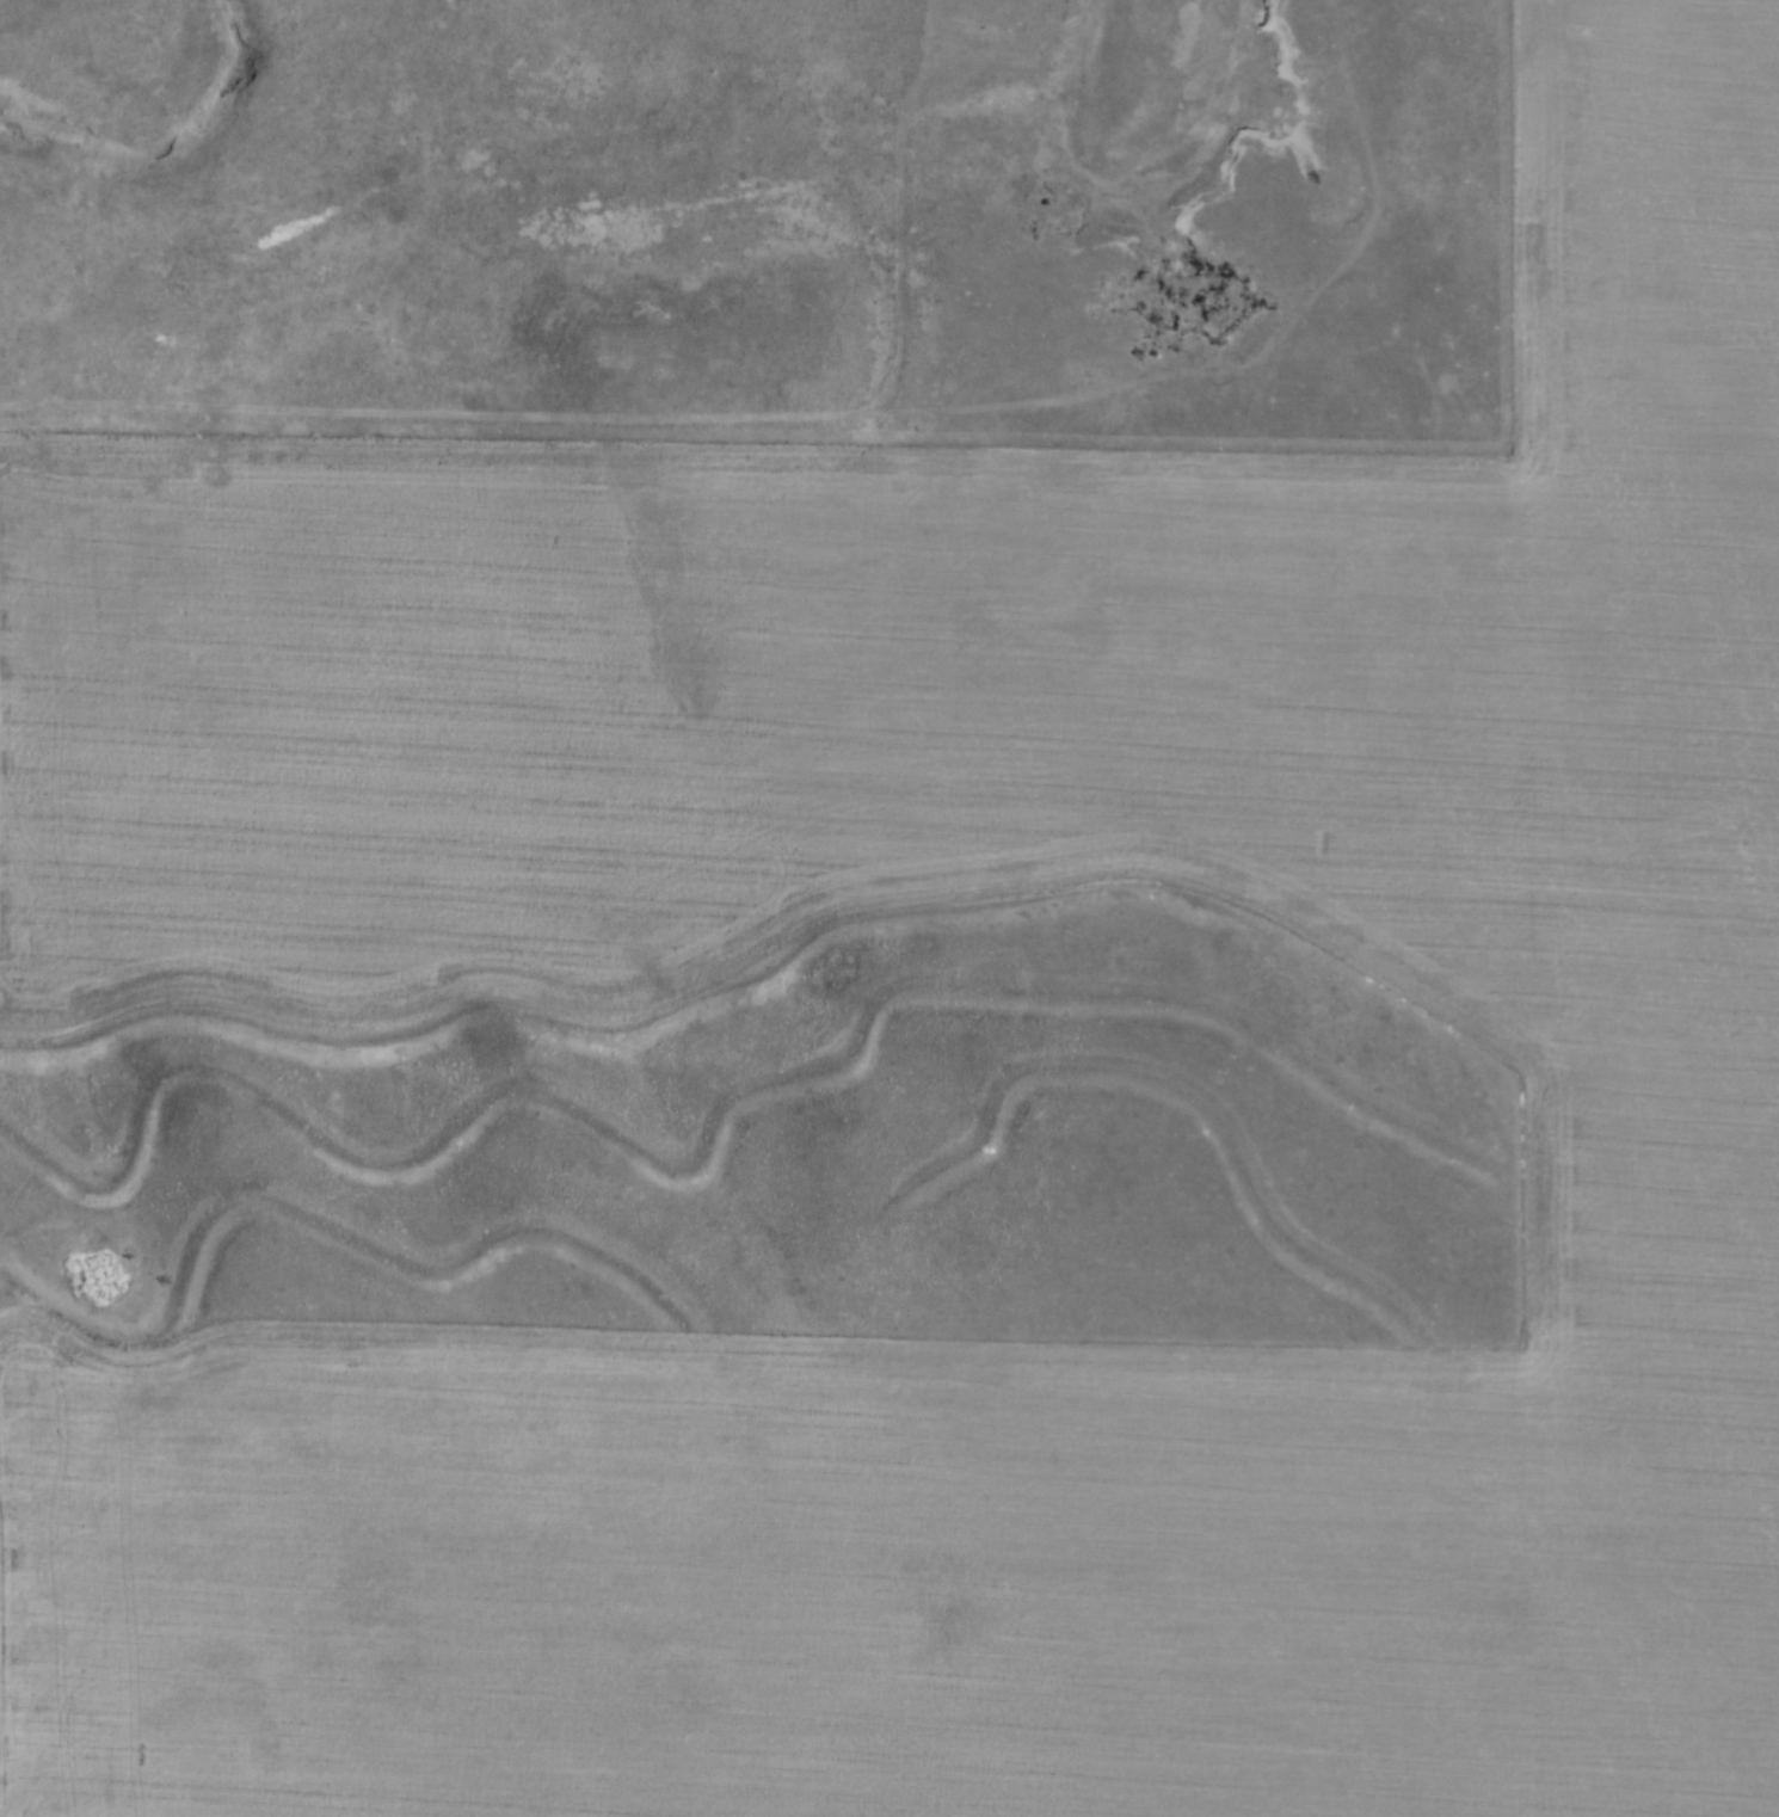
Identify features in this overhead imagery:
crop: (431, 912)

